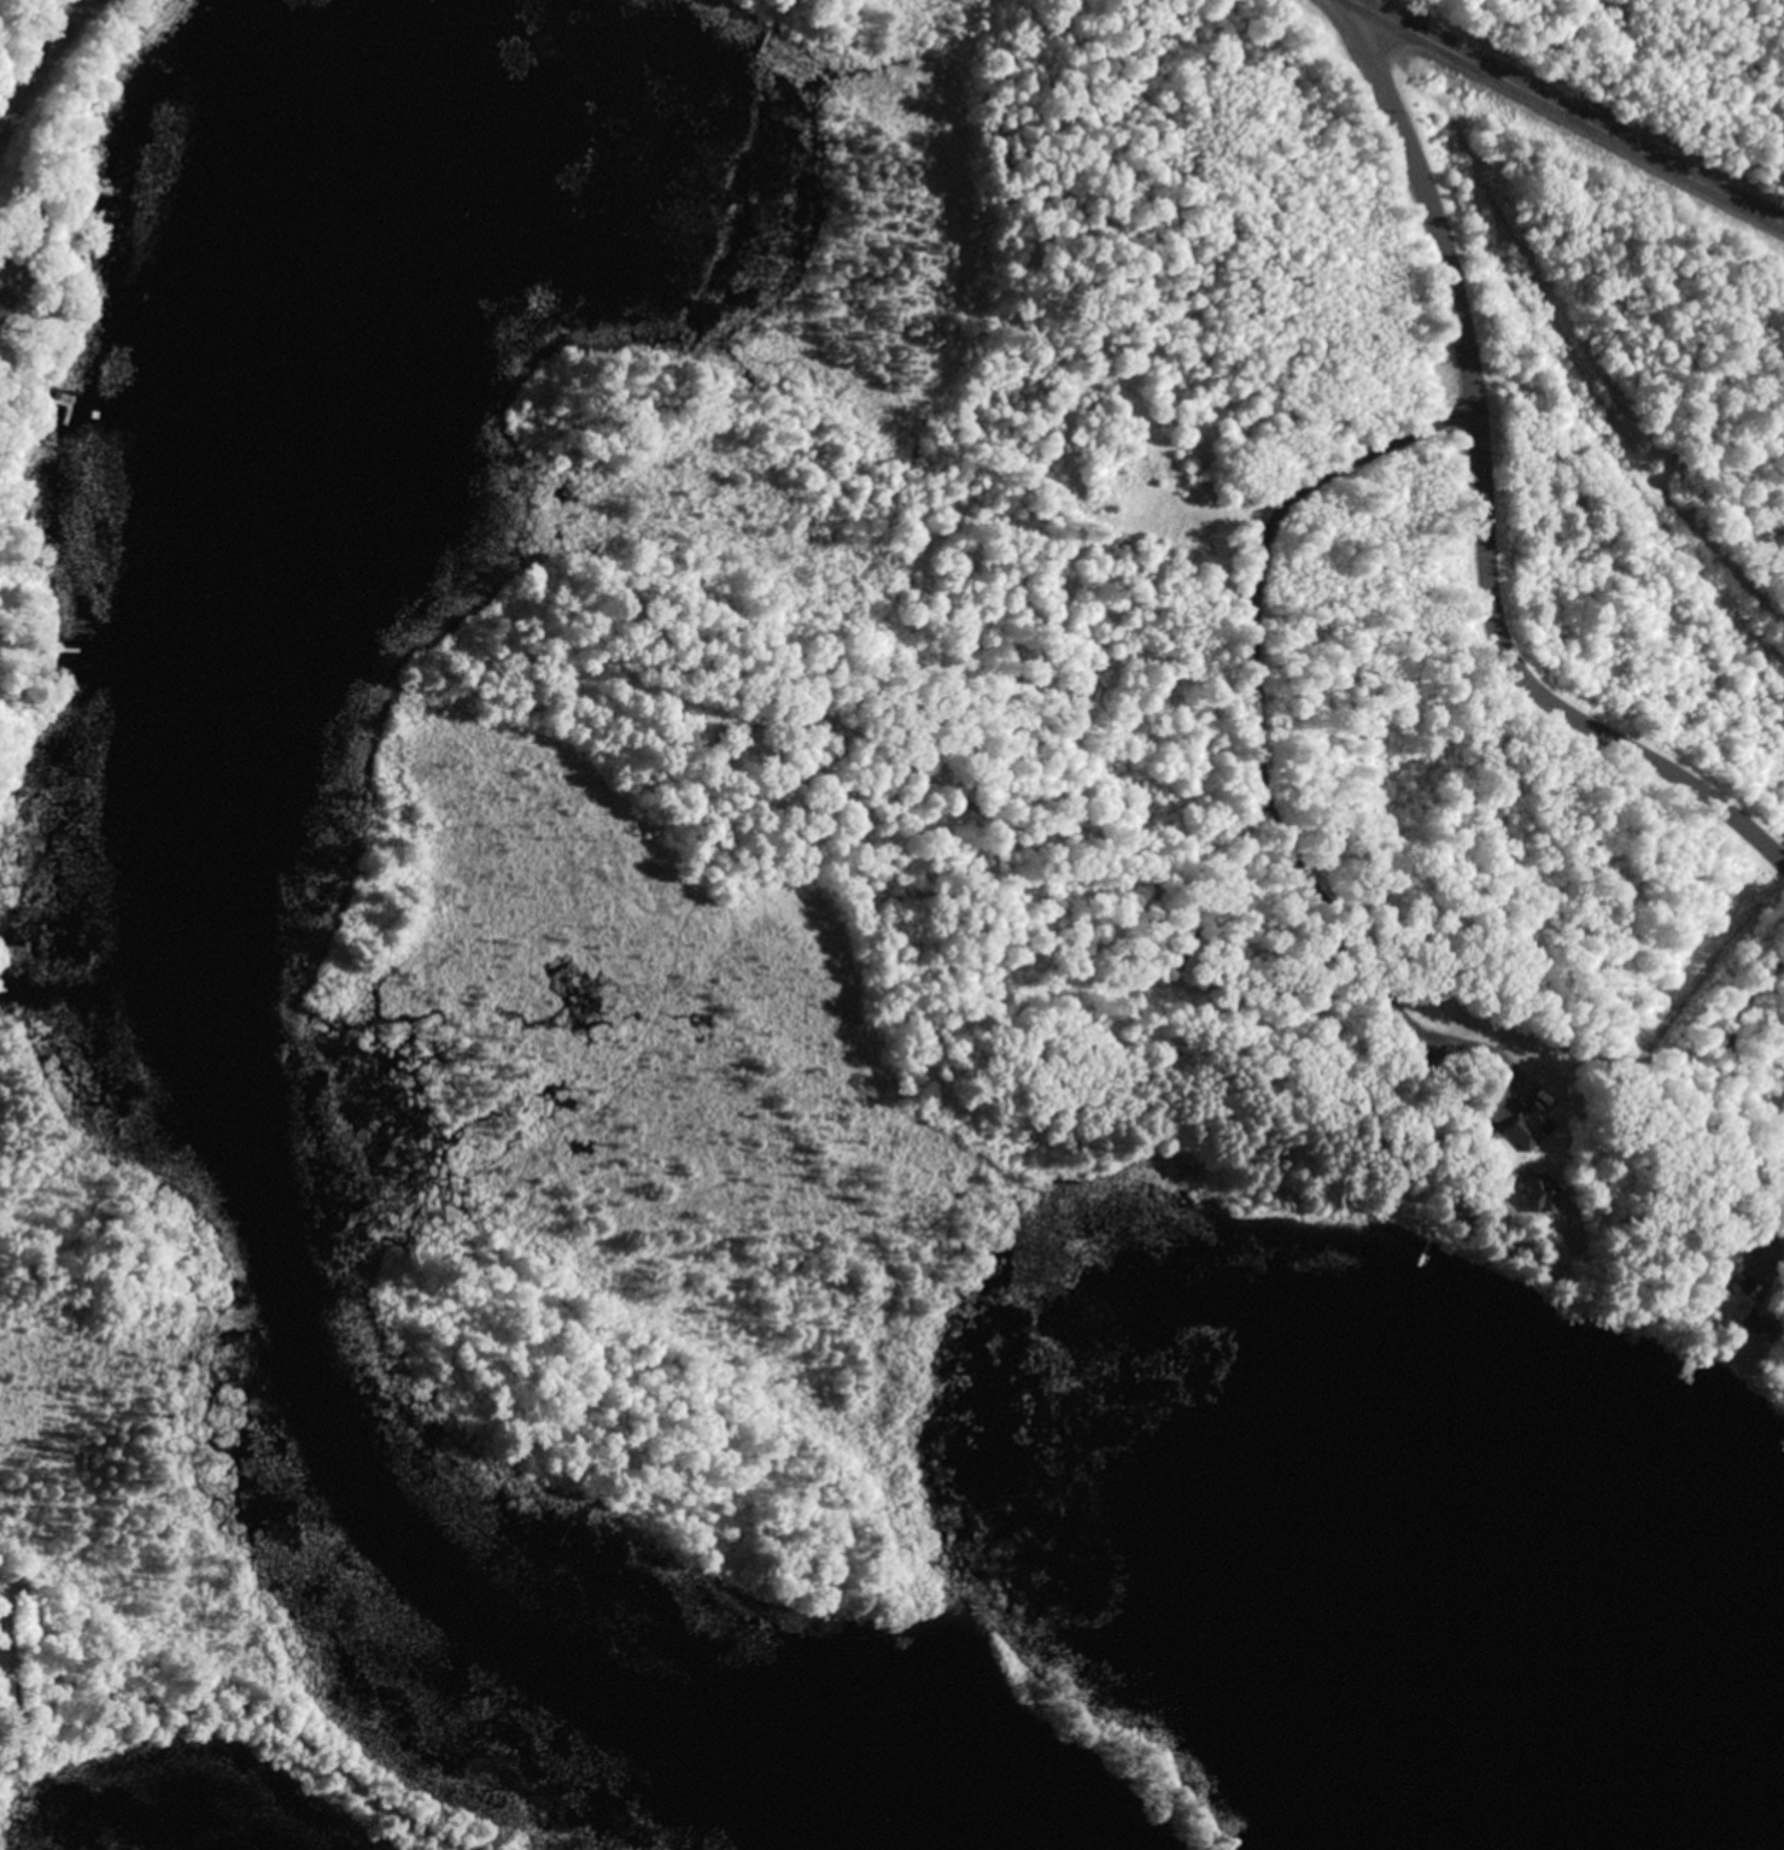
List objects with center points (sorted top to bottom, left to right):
road: (40, 60)
road: (1568, 111)
building: (11, 282)
road: (1481, 497)
road: (1686, 1002)
building: (1587, 1040)
building: (1522, 1130)
building: (1539, 1188)
building: (1757, 1318)
road: (263, 1715)

